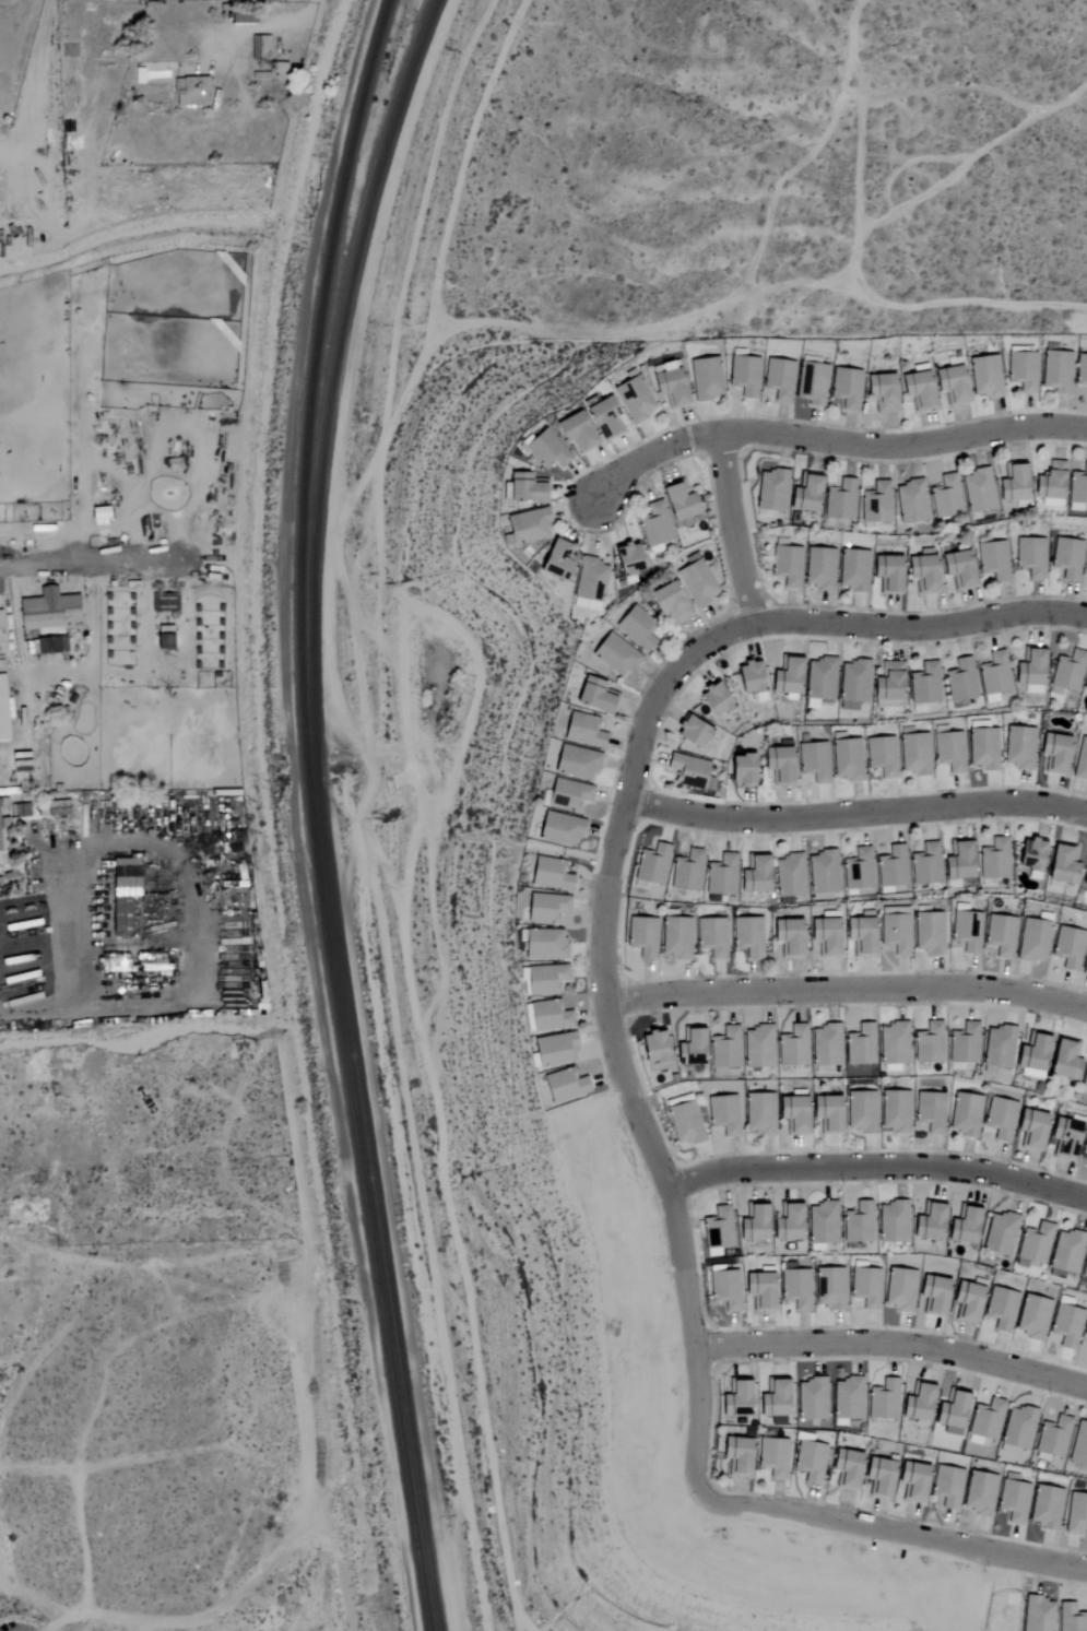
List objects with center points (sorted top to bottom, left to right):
building: (247, 19)
building: (262, 48)
building: (275, 71)
building: (193, 92)
road: (415, 225)
building: (1021, 370)
building: (1054, 371)
building: (743, 376)
building: (1080, 376)
building: (983, 377)
building: (705, 378)
building: (778, 379)
building: (810, 383)
building: (666, 385)
building: (948, 385)
building: (846, 388)
building: (915, 390)
building: (881, 392)
building: (633, 400)
building: (600, 417)
building: (572, 432)
road: (829, 442)
building: (545, 450)
building: (1011, 484)
building: (1048, 485)
building: (522, 488)
building: (770, 492)
building: (976, 492)
building: (802, 494)
building: (944, 497)
building: (839, 500)
building: (908, 503)
building: (873, 504)
road: (238, 511)
building: (104, 512)
building: (663, 515)
building: (525, 525)
road: (734, 525)
building: (1029, 557)
building: (1065, 558)
building: (554, 559)
building: (624, 560)
building: (993, 560)
building: (785, 566)
road: (117, 567)
building: (1085, 568)
building: (817, 569)
building: (957, 569)
building: (852, 570)
building: (921, 571)
building: (885, 574)
building: (589, 580)
building: (695, 580)
building: (167, 602)
building: (666, 602)
building: (52, 610)
building: (1, 619)
road: (921, 625)
building: (635, 627)
building: (170, 637)
building: (54, 645)
building: (613, 655)
building: (1028, 671)
building: (1066, 672)
building: (993, 674)
building: (784, 676)
building: (747, 679)
building: (818, 679)
building: (960, 681)
building: (886, 682)
building: (852, 684)
building: (923, 684)
building: (1084, 684)
building: (594, 697)
building: (711, 701)
building: (4, 708)
building: (581, 731)
building: (688, 733)
building: (980, 746)
building: (1017, 748)
building: (946, 752)
building: (1051, 754)
building: (911, 755)
building: (878, 757)
building: (844, 760)
building: (1080, 760)
building: (578, 763)
building: (812, 763)
building: (776, 766)
building: (688, 771)
building: (737, 771)
building: (572, 794)
road: (375, 806)
railway: (320, 811)
road: (856, 812)
railway: (309, 815)
building: (10, 822)
building: (565, 829)
road: (123, 842)
building: (1028, 855)
building: (993, 859)
building: (956, 860)
building: (924, 864)
building: (1060, 864)
building: (651, 865)
building: (891, 866)
building: (858, 868)
building: (686, 871)
building: (822, 872)
building: (753, 874)
building: (1084, 874)
building: (555, 875)
building: (720, 875)
building: (789, 875)
building: (129, 896)
building: (551, 907)
building: (964, 931)
building: (894, 933)
building: (926, 933)
building: (999, 934)
building: (746, 935)
building: (858, 935)
building: (642, 936)
building: (711, 936)
building: (785, 936)
building: (823, 936)
building: (675, 937)
building: (1031, 937)
building: (550, 944)
building: (1066, 947)
building: (1084, 961)
building: (550, 979)
road: (849, 984)
road: (99, 1007)
building: (553, 1016)
road: (617, 1035)
building: (891, 1043)
building: (928, 1043)
building: (824, 1044)
building: (859, 1044)
building: (961, 1044)
building: (791, 1045)
building: (650, 1047)
building: (687, 1047)
building: (756, 1047)
building: (995, 1047)
building: (724, 1048)
building: (560, 1049)
building: (1029, 1054)
building: (1062, 1059)
building: (1084, 1074)
building: (569, 1085)
building: (893, 1111)
building: (928, 1111)
building: (791, 1112)
building: (859, 1112)
building: (757, 1113)
building: (825, 1113)
building: (722, 1114)
building: (962, 1114)
building: (999, 1119)
building: (683, 1122)
building: (1028, 1128)
building: (1062, 1137)
building: (1084, 1143)
road: (877, 1166)
building: (889, 1221)
building: (925, 1221)
building: (751, 1222)
building: (785, 1222)
building: (822, 1222)
building: (856, 1222)
building: (960, 1225)
building: (717, 1228)
building: (997, 1233)
building: (1032, 1243)
building: (1063, 1253)
building: (1084, 1266)
building: (863, 1287)
building: (757, 1288)
building: (793, 1288)
building: (827, 1288)
building: (897, 1289)
building: (722, 1290)
building: (930, 1295)
building: (964, 1302)
building: (1000, 1309)
building: (1030, 1316)
building: (1084, 1327)
road: (894, 1348)
building: (1086, 1351)
building: (771, 1398)
building: (844, 1398)
building: (734, 1399)
building: (810, 1399)
building: (882, 1400)
building: (914, 1402)
building: (949, 1411)
building: (984, 1419)
building: (1016, 1428)
building: (1051, 1434)
building: (1078, 1444)
building: (734, 1455)
building: (772, 1457)
building: (844, 1468)
building: (876, 1476)
building: (910, 1481)
building: (946, 1487)
building: (977, 1493)
building: (1012, 1500)
building: (1042, 1506)
building: (1075, 1513)
road: (896, 1530)
building: (1035, 1614)
building: (1070, 1618)

